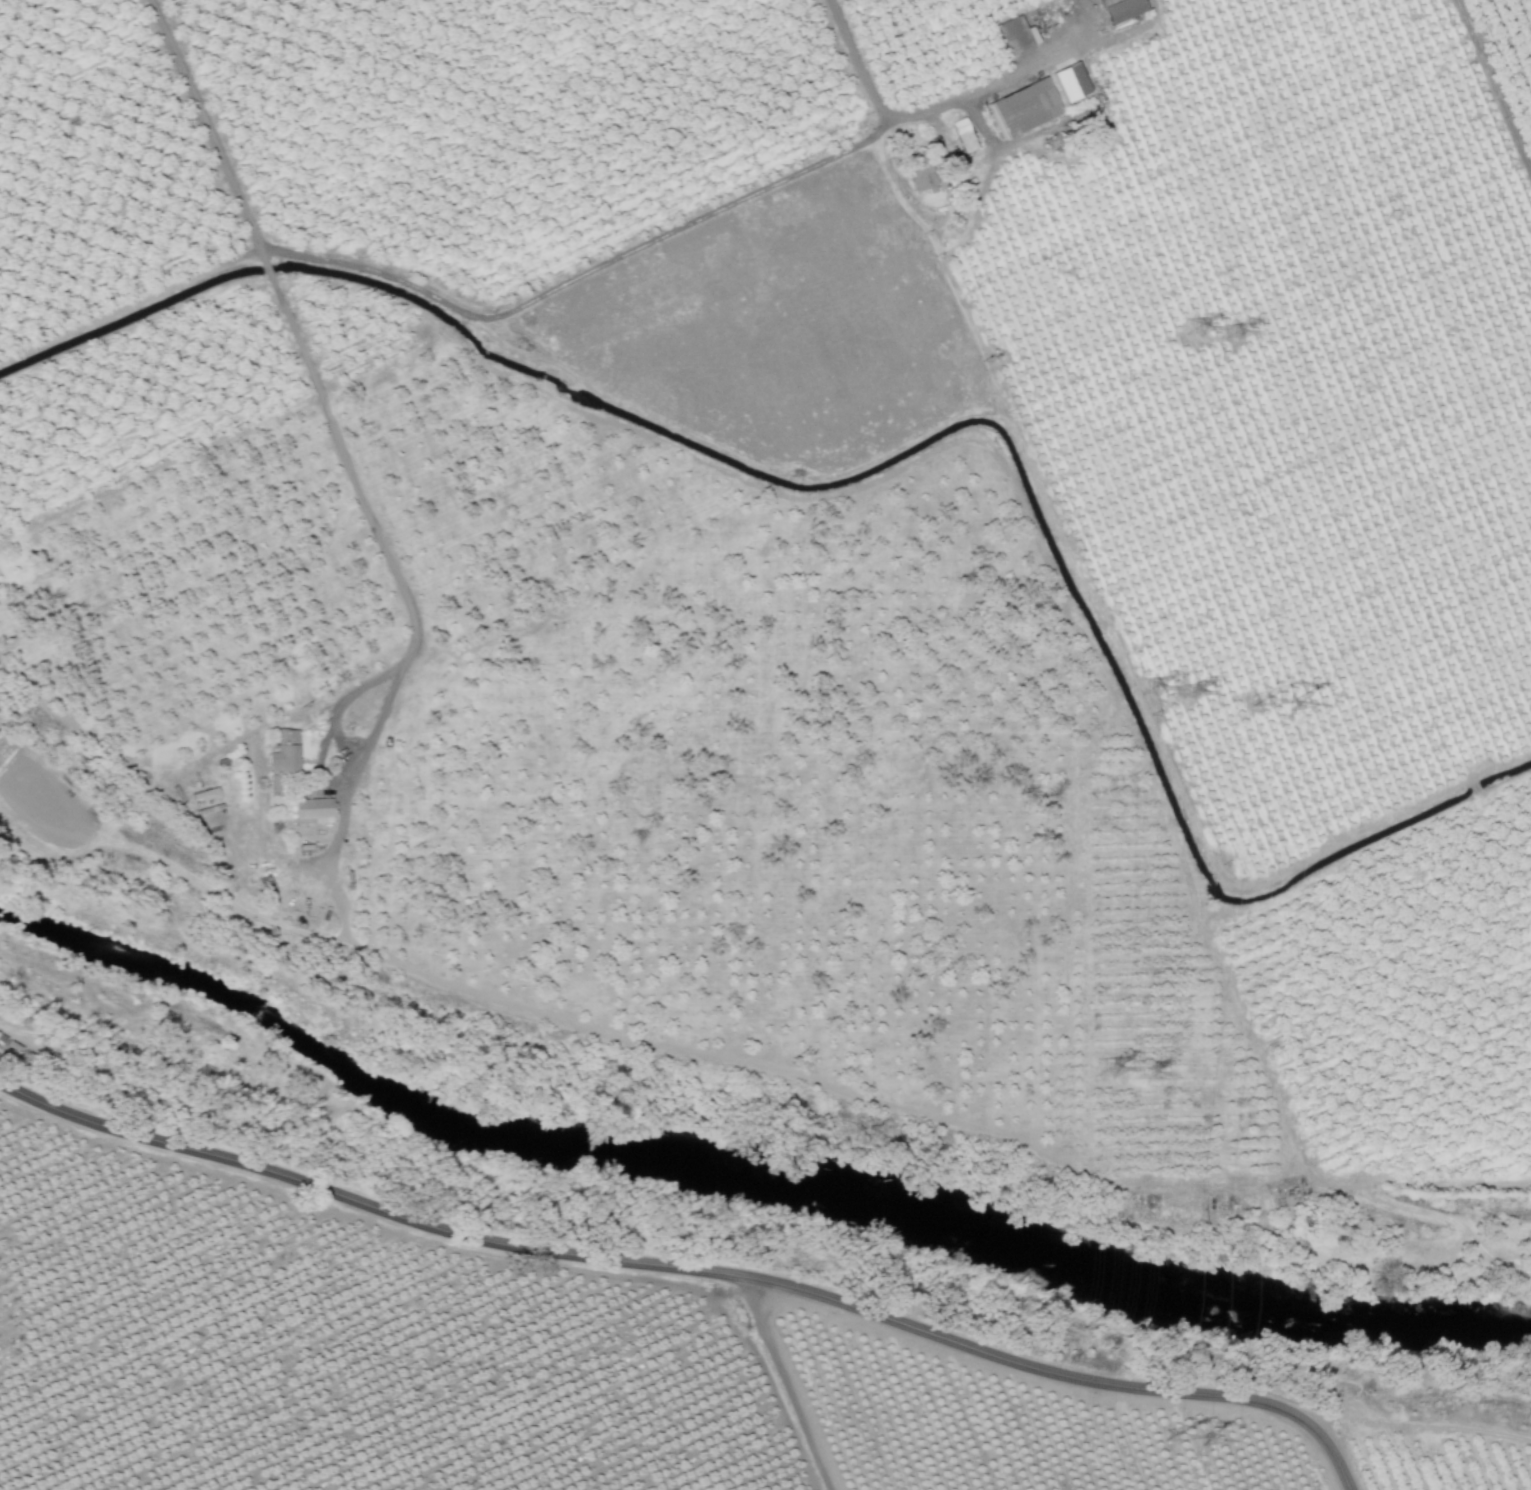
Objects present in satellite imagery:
building: (1103, 2)
building: (1121, 10)
building: (1013, 35)
road: (1025, 69)
building: (1067, 80)
road: (1494, 84)
building: (1019, 108)
building: (961, 135)
building: (918, 179)
road: (633, 245)
road: (291, 324)
power tower: (1190, 330)
power tower: (1231, 333)
power tower: (1150, 689)
power tower: (1186, 694)
power tower: (1268, 705)
road: (338, 741)
building: (281, 752)
building: (284, 769)
road: (345, 800)
building: (314, 812)
road: (129, 848)
road: (219, 875)
road: (50, 897)
road: (263, 920)
road: (1067, 1030)
power tower: (1105, 1071)
road: (784, 1073)
power tower: (1145, 1075)
river: (756, 1158)
road: (688, 1270)
road: (789, 1385)
road: (1419, 1399)
power tower: (1183, 1442)

